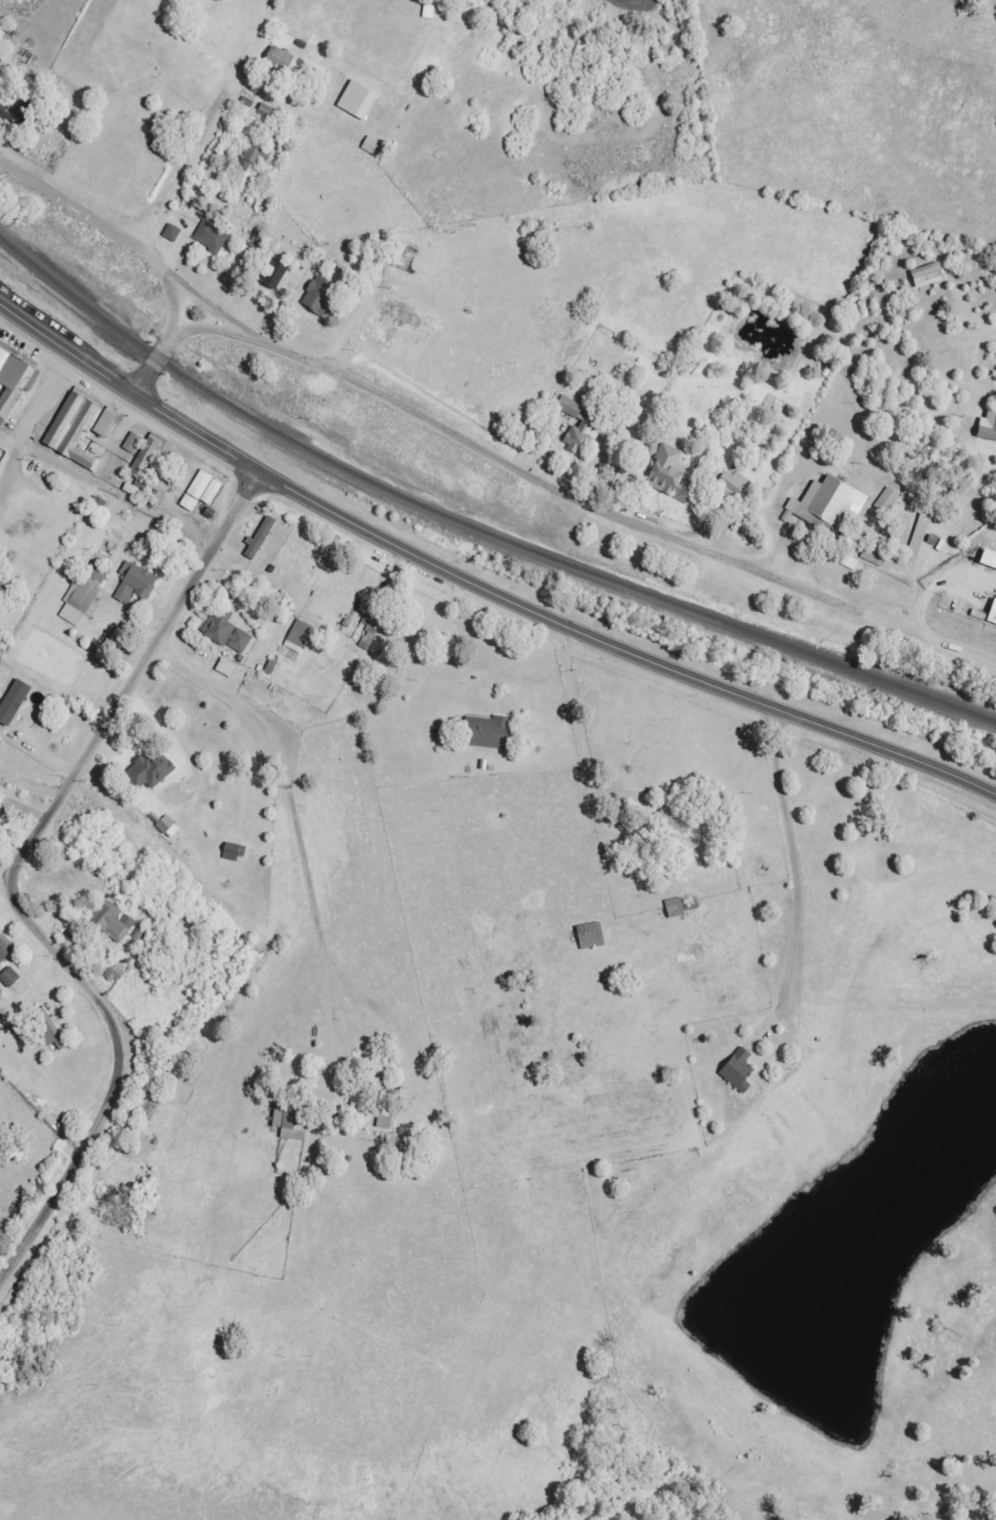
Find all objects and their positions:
building: (281, 59)
building: (358, 100)
building: (17, 112)
building: (372, 146)
building: (256, 155)
building: (172, 233)
road: (116, 235)
building: (211, 235)
building: (398, 254)
building: (276, 275)
building: (319, 295)
road: (216, 311)
road: (34, 340)
road: (842, 361)
road: (147, 373)
building: (15, 381)
building: (570, 407)
road: (31, 414)
road: (161, 419)
building: (988, 427)
building: (79, 429)
building: (582, 436)
building: (133, 443)
road: (122, 449)
building: (146, 459)
building: (672, 475)
building: (733, 483)
building: (202, 491)
road: (112, 495)
road: (575, 497)
building: (888, 500)
building: (829, 504)
railway: (474, 525)
building: (920, 530)
building: (261, 537)
building: (989, 560)
building: (136, 583)
building: (83, 595)
building: (993, 615)
building: (227, 632)
building: (299, 636)
building: (369, 638)
road: (620, 648)
building: (227, 668)
building: (14, 702)
building: (490, 733)
road: (571, 766)
building: (151, 771)
building: (2, 801)
road: (304, 816)
building: (676, 823)
building: (169, 828)
building: (235, 852)
road: (737, 862)
road: (9, 890)
building: (675, 908)
building: (112, 920)
building: (7, 944)
building: (3, 955)
building: (114, 973)
building: (10, 978)
building: (53, 1031)
building: (739, 1071)
building: (292, 1120)
building: (385, 1123)
road: (219, 1154)

